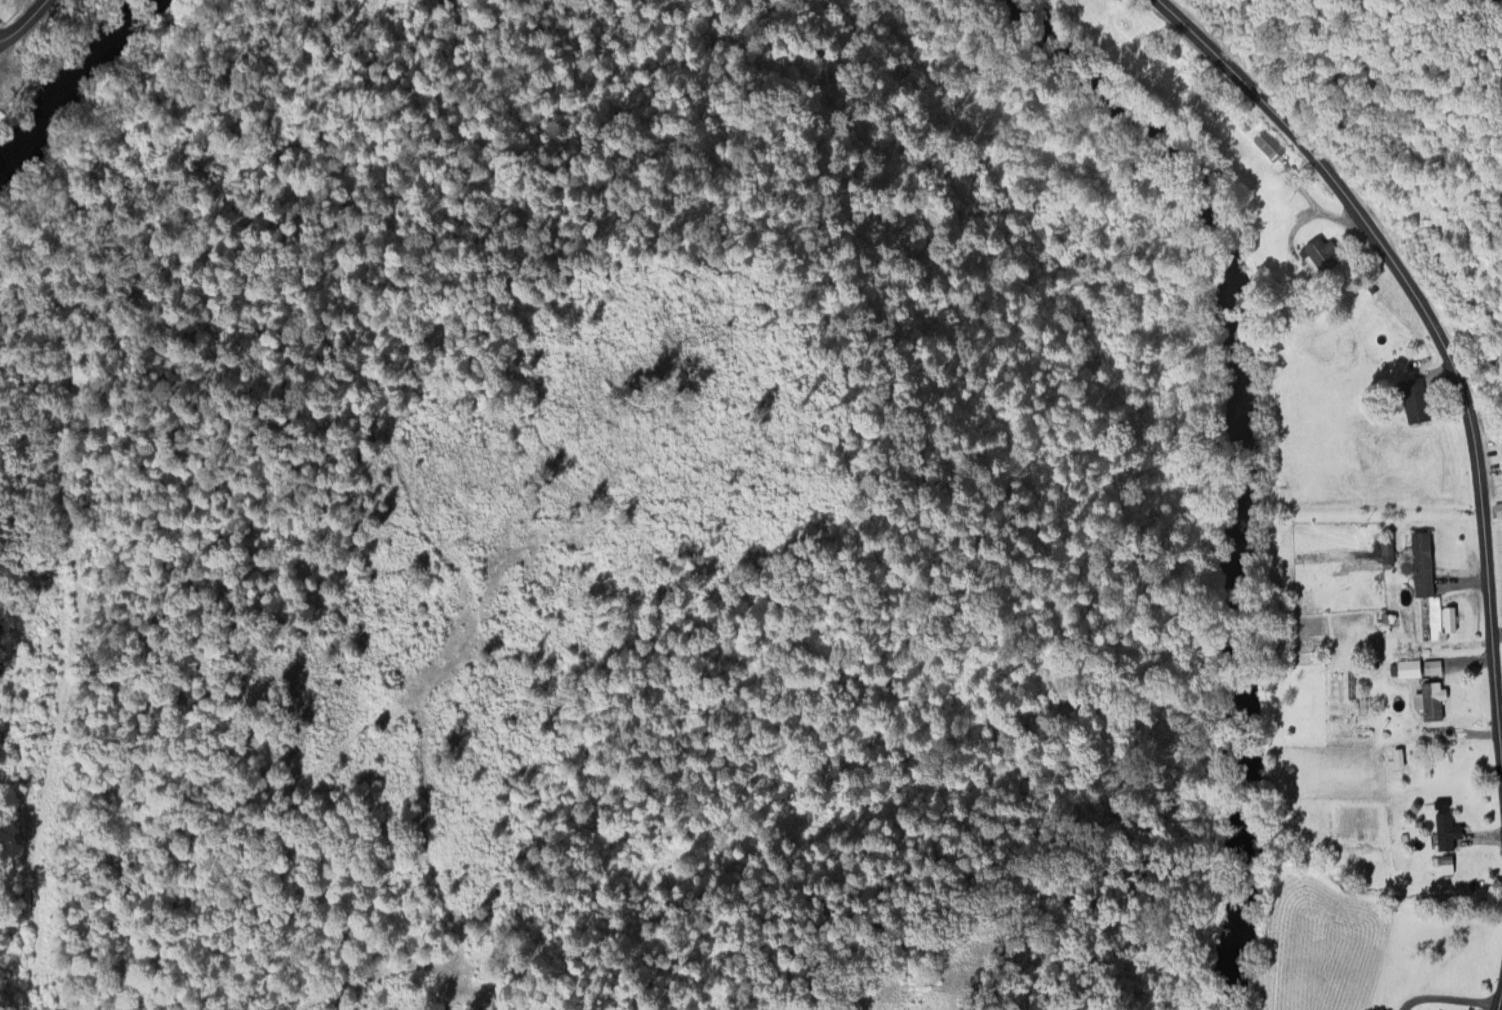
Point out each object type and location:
road: (22, 20)
building: (1135, 30)
river: (63, 87)
building: (1268, 143)
building: (1320, 253)
building: (1369, 287)
road: (1432, 326)
building: (1414, 397)
river: (1256, 460)
building: (1498, 506)
building: (1387, 549)
building: (1423, 560)
building: (1436, 614)
building: (1384, 615)
building: (1409, 666)
building: (1433, 666)
building: (1433, 699)
building: (1388, 740)
building: (1440, 757)
building: (1445, 829)
building: (1447, 861)
road: (1448, 992)
road: (1500, 1002)

